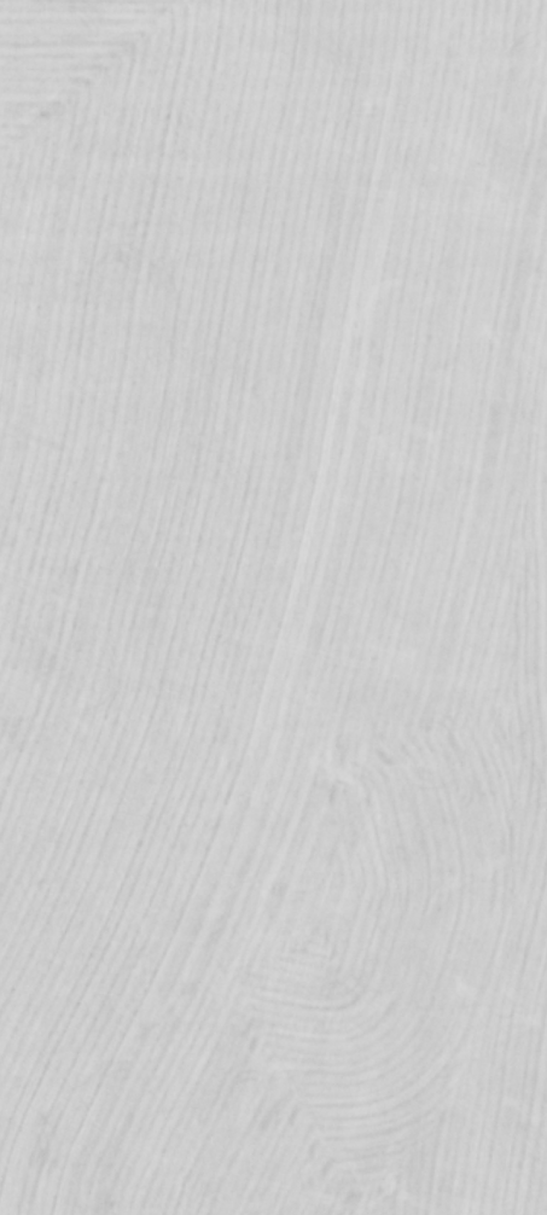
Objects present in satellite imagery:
crop: (273, 607)

